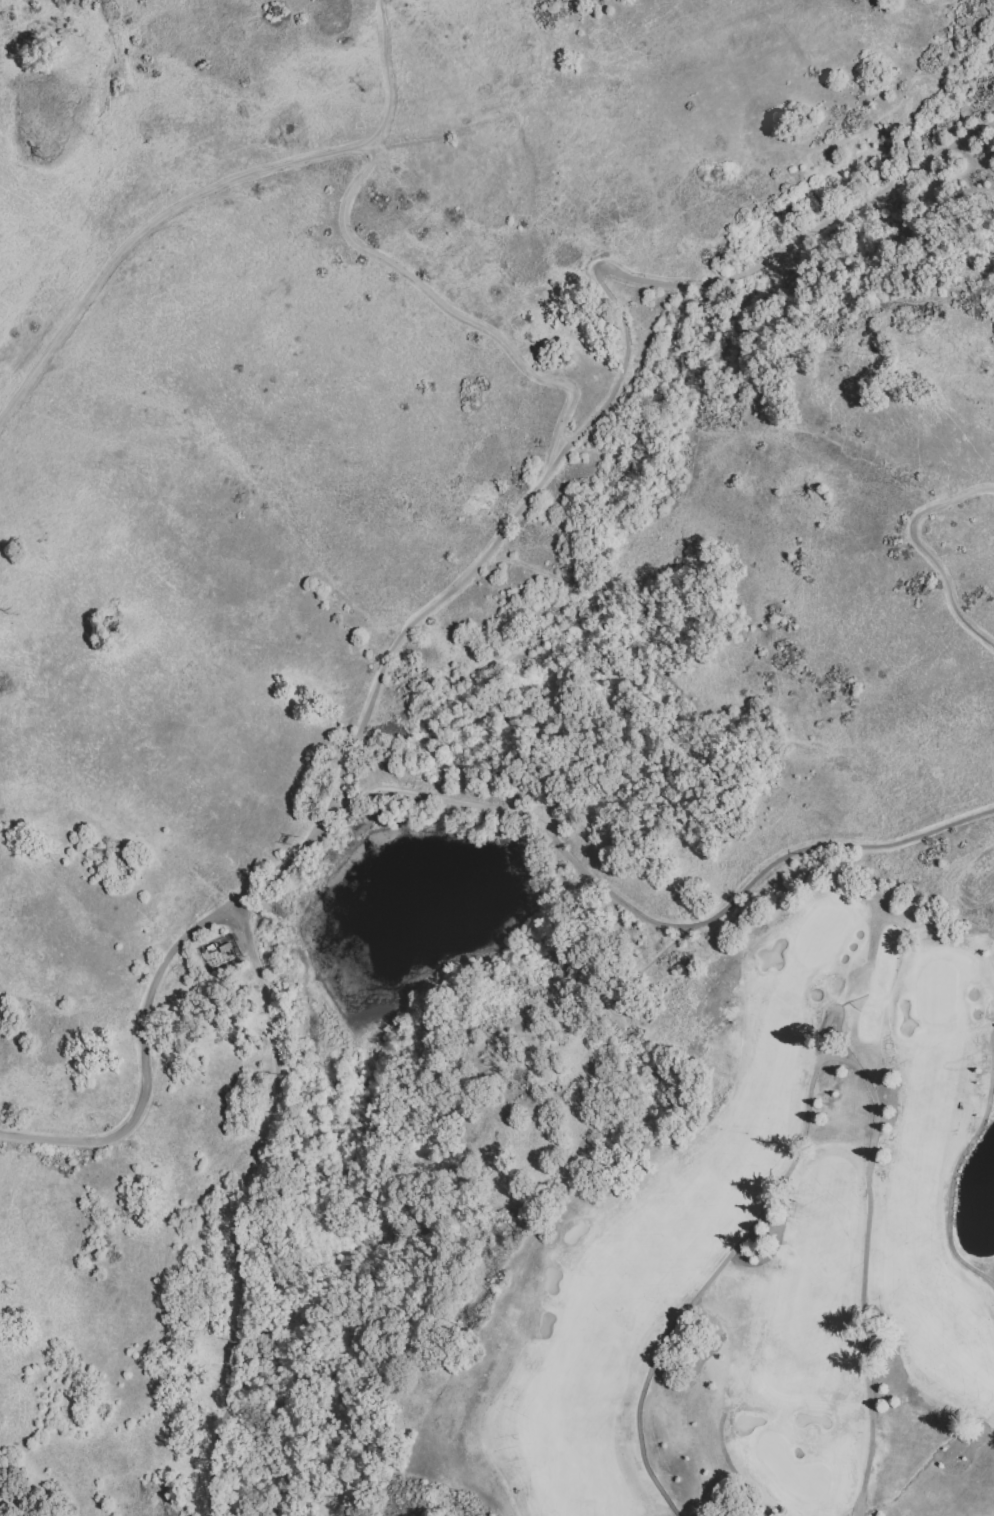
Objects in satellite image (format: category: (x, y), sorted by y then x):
road: (384, 76)
road: (872, 205)
road: (143, 231)
road: (740, 275)
road: (465, 321)
road: (565, 438)
road: (504, 532)
road: (921, 545)
road: (349, 801)
road: (334, 808)
road: (673, 924)
road: (576, 933)
building: (225, 955)
road: (146, 1064)
road: (814, 1068)
road: (950, 1181)
road: (240, 1201)
park: (762, 1248)

